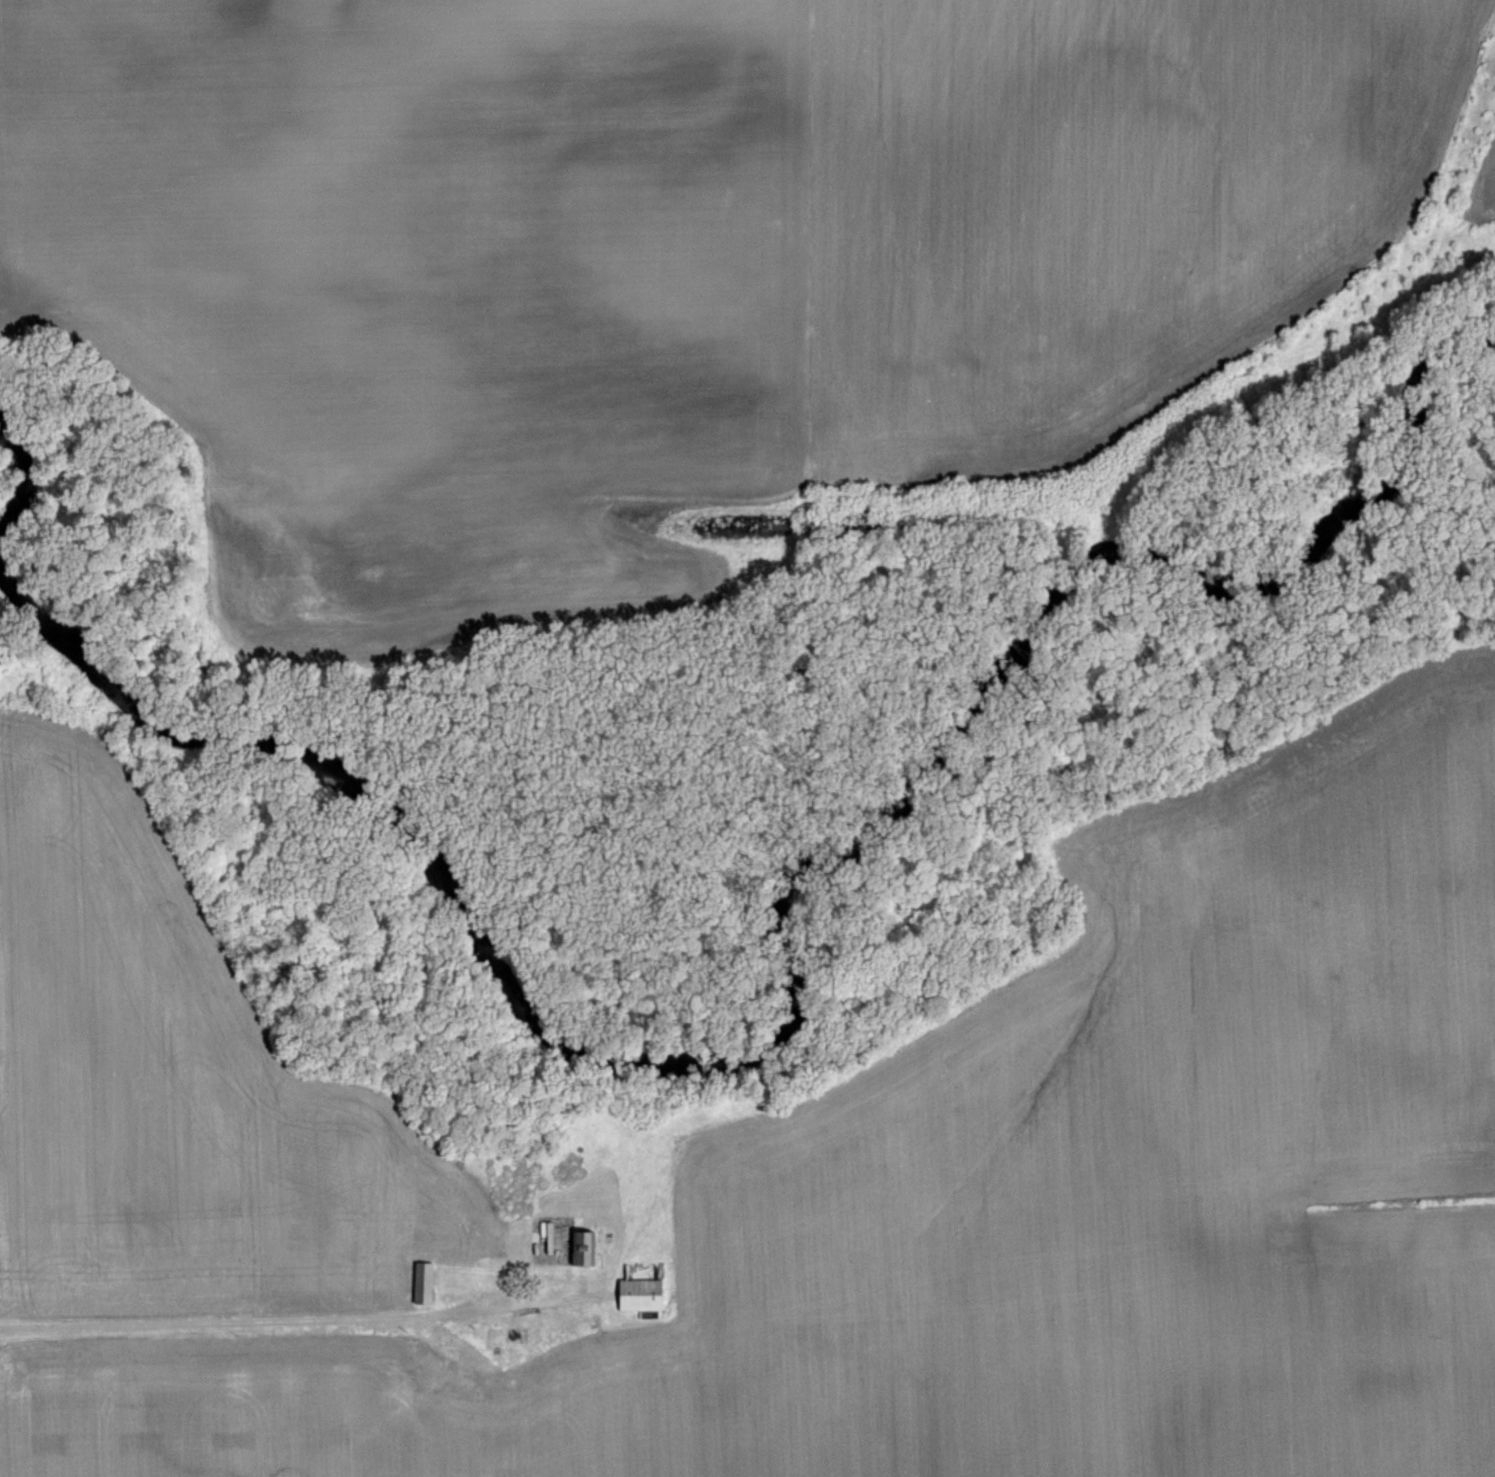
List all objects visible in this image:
crop: (1483, 191)
crop: (669, 259)
crop: (176, 1087)
crop: (1020, 1200)
building: (426, 1286)
building: (644, 1298)
road: (304, 1319)

